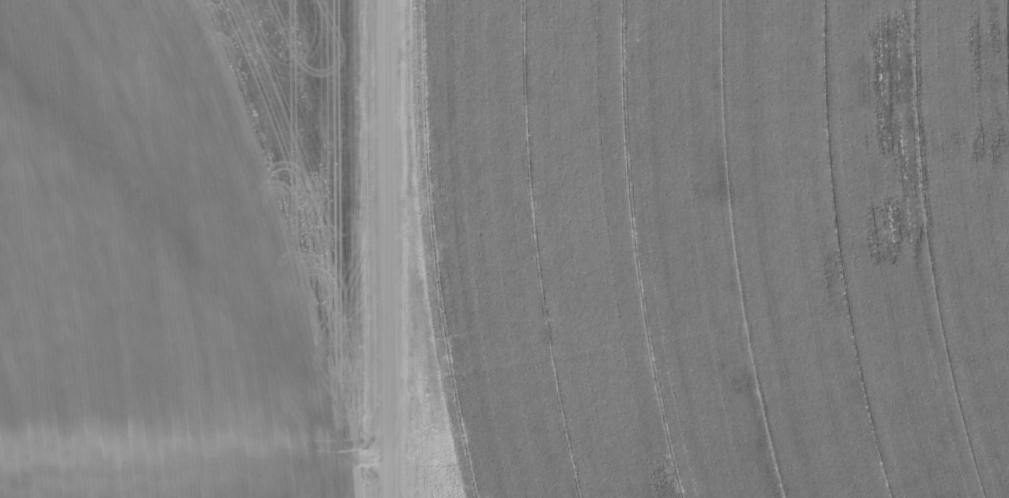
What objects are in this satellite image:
road: (387, 248)
road: (194, 470)

